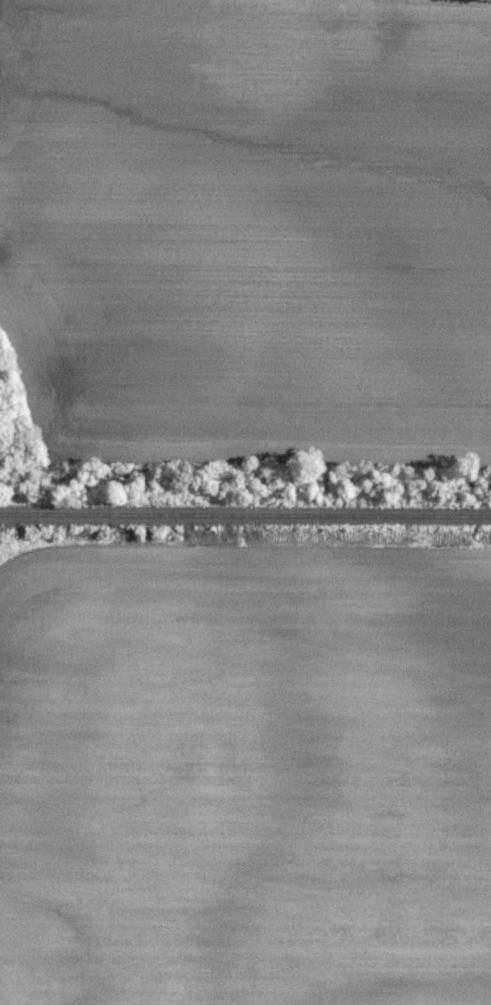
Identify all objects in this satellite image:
railway: (245, 508)

